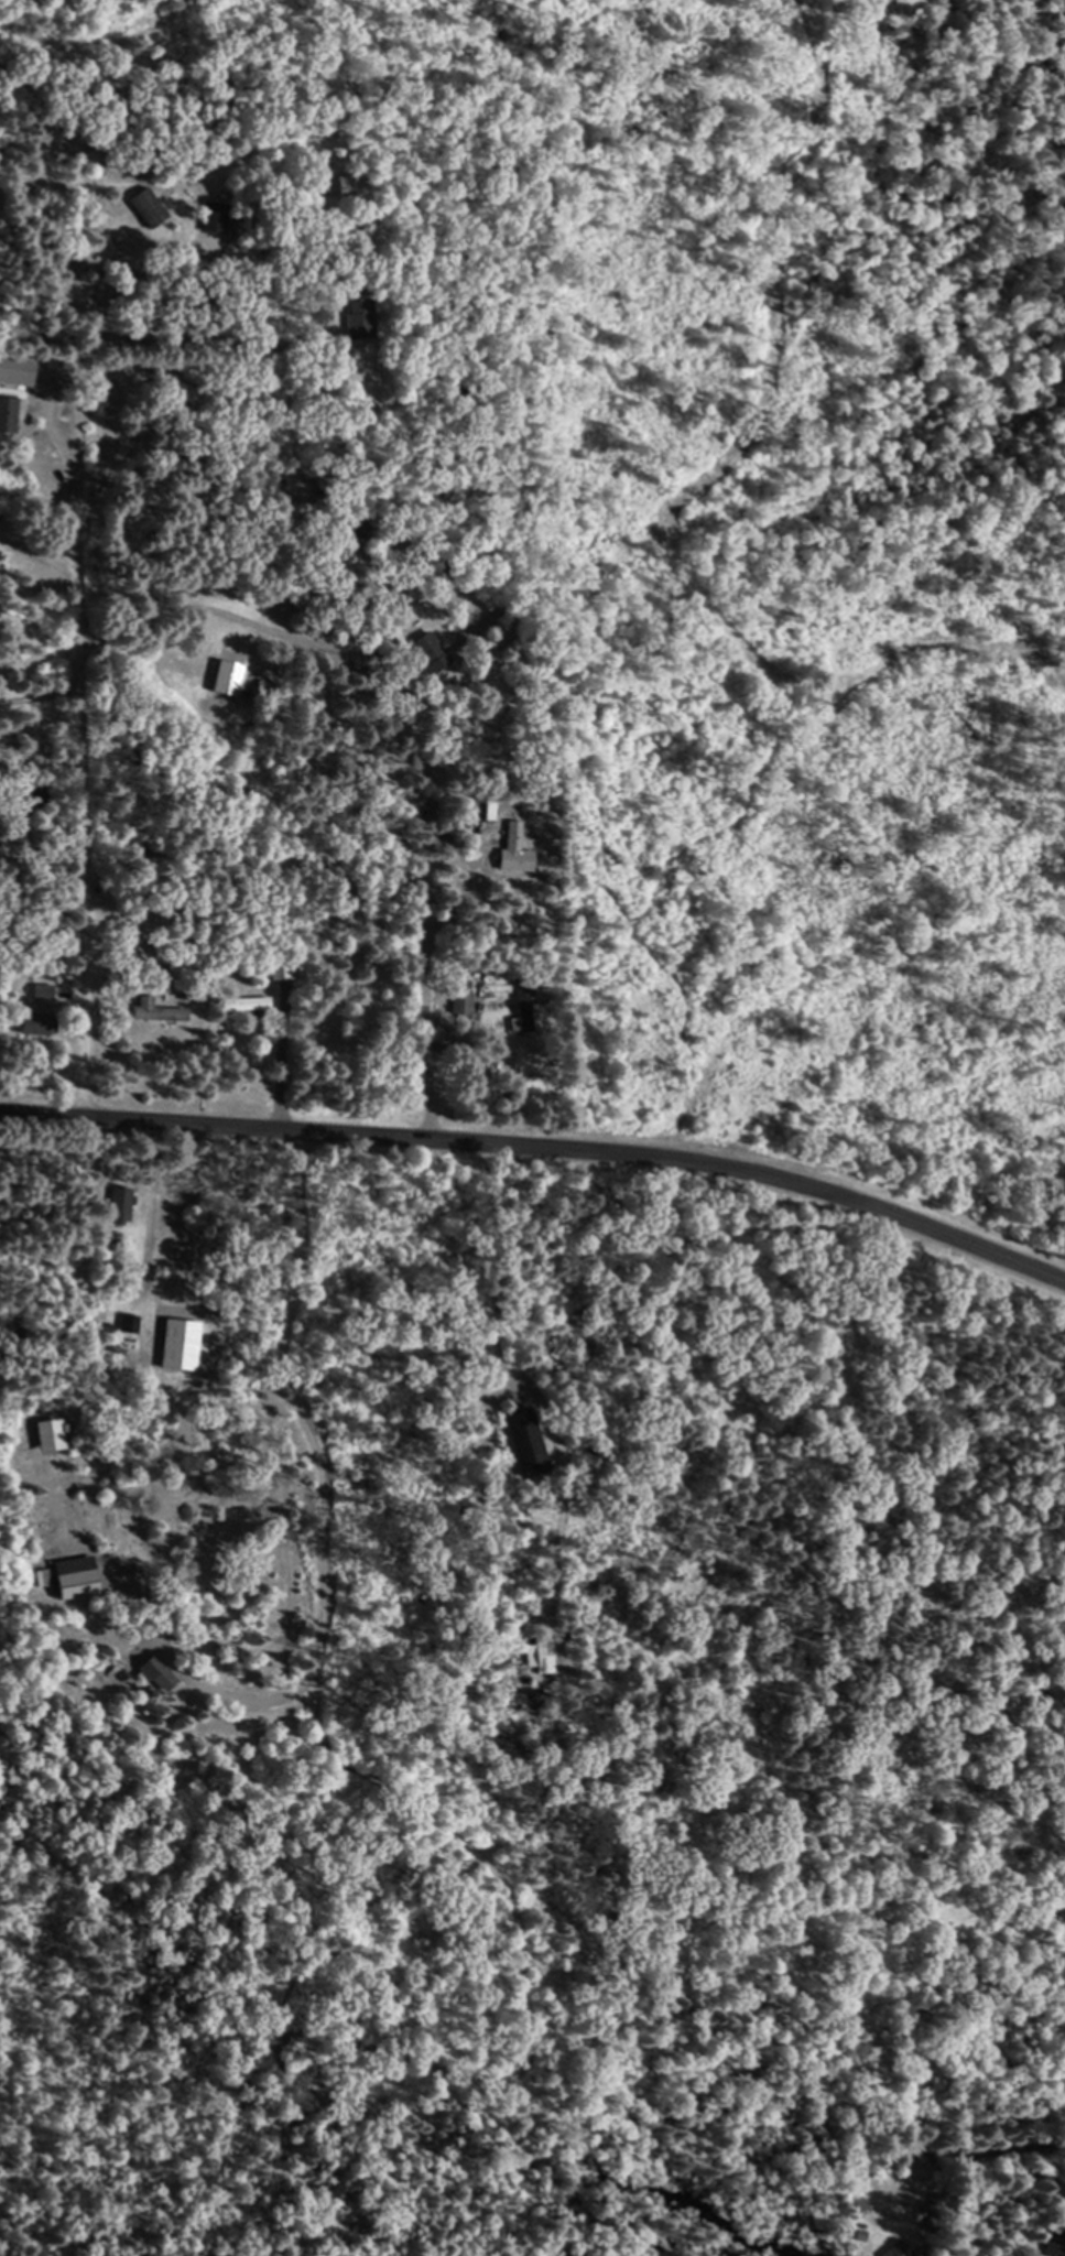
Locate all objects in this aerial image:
building: (351, 186)
building: (149, 207)
building: (215, 216)
building: (363, 311)
building: (8, 415)
building: (427, 647)
road: (87, 715)
building: (284, 968)
road: (426, 984)
building: (43, 990)
building: (461, 1001)
building: (249, 1004)
building: (522, 1006)
building: (159, 1010)
building: (35, 1022)
road: (542, 1143)
building: (121, 1203)
building: (522, 1440)
building: (77, 1583)
building: (541, 1656)
building: (159, 1673)
building: (898, 2249)

